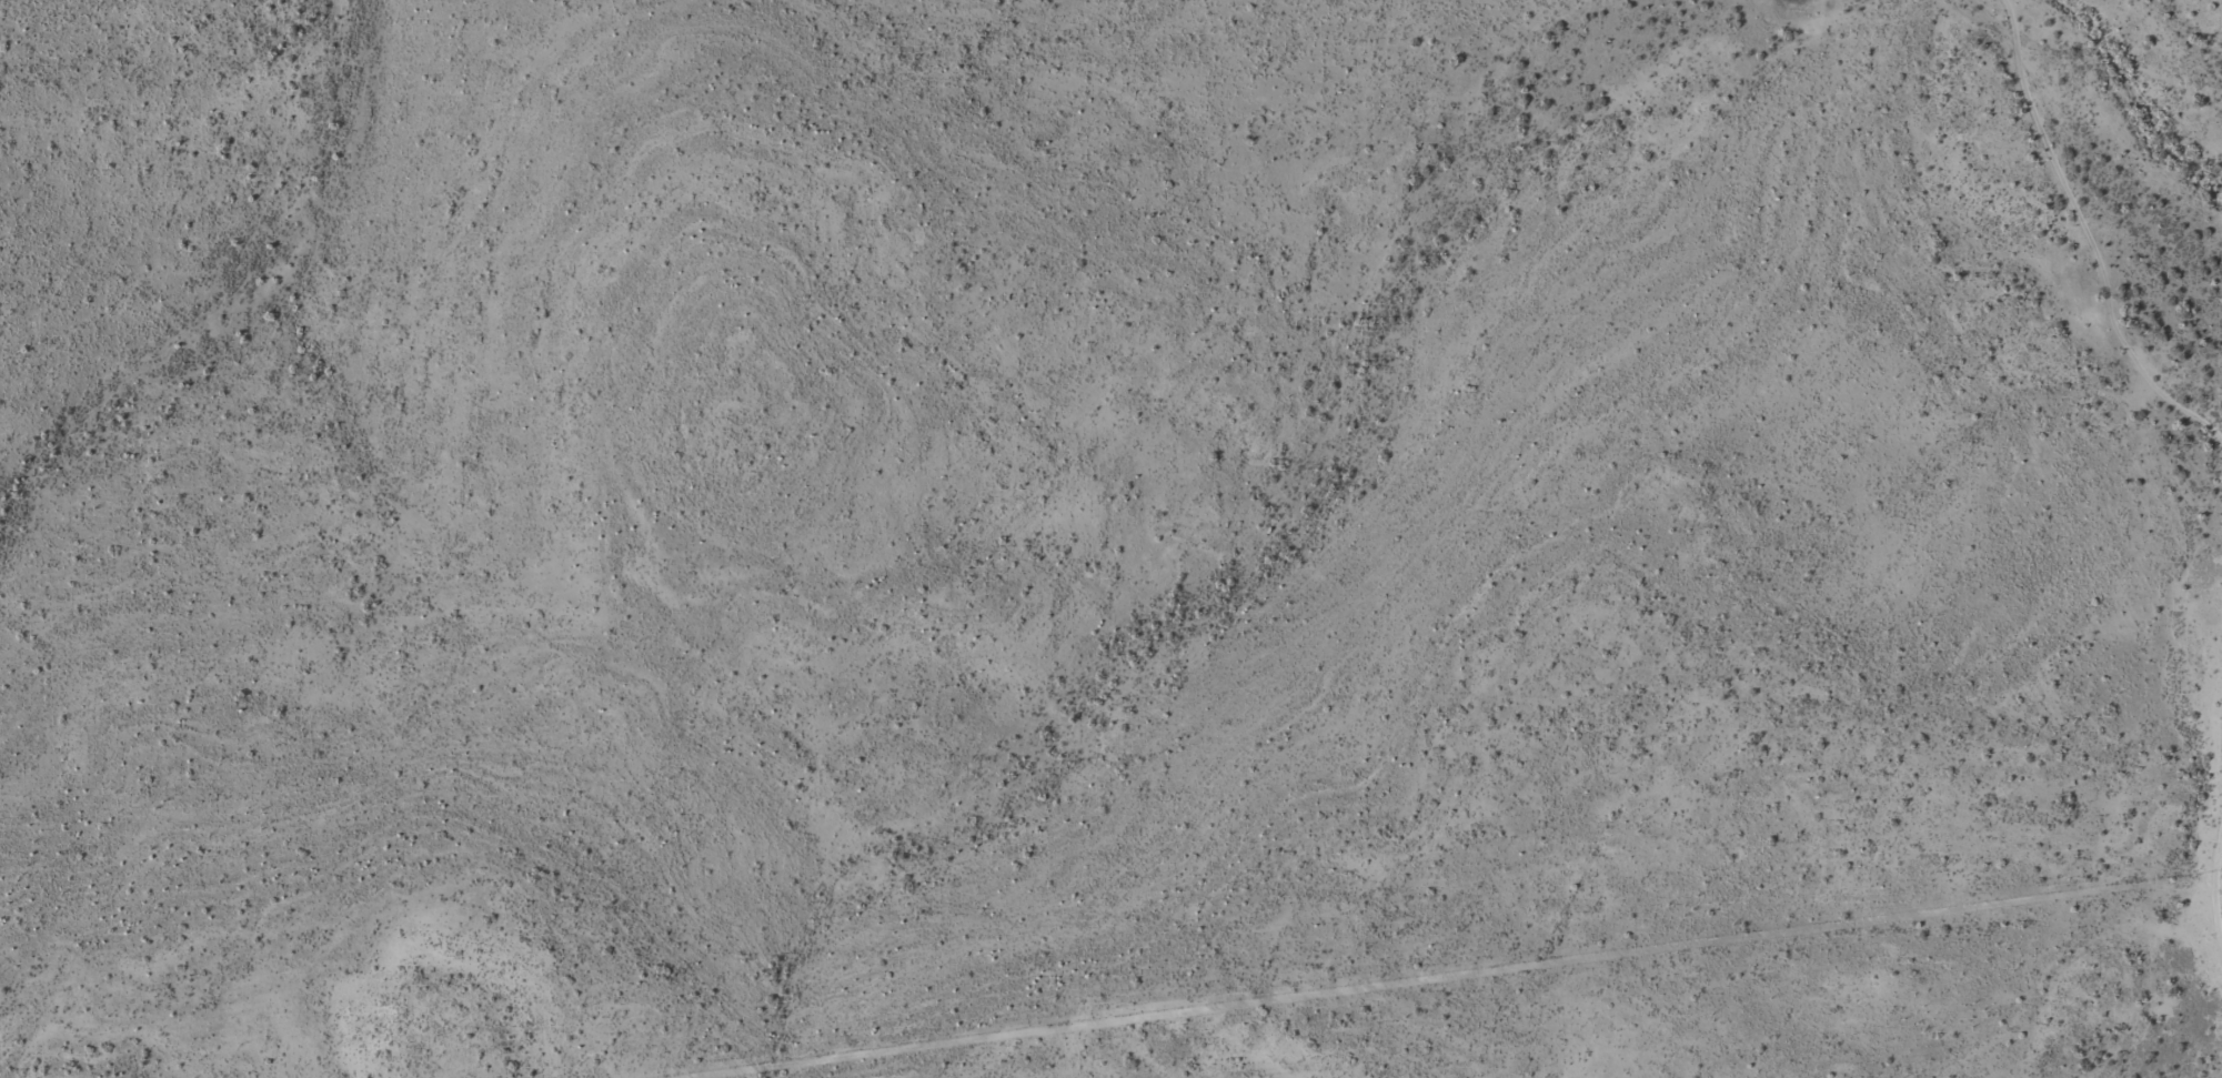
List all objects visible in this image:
road: (2156, 495)

